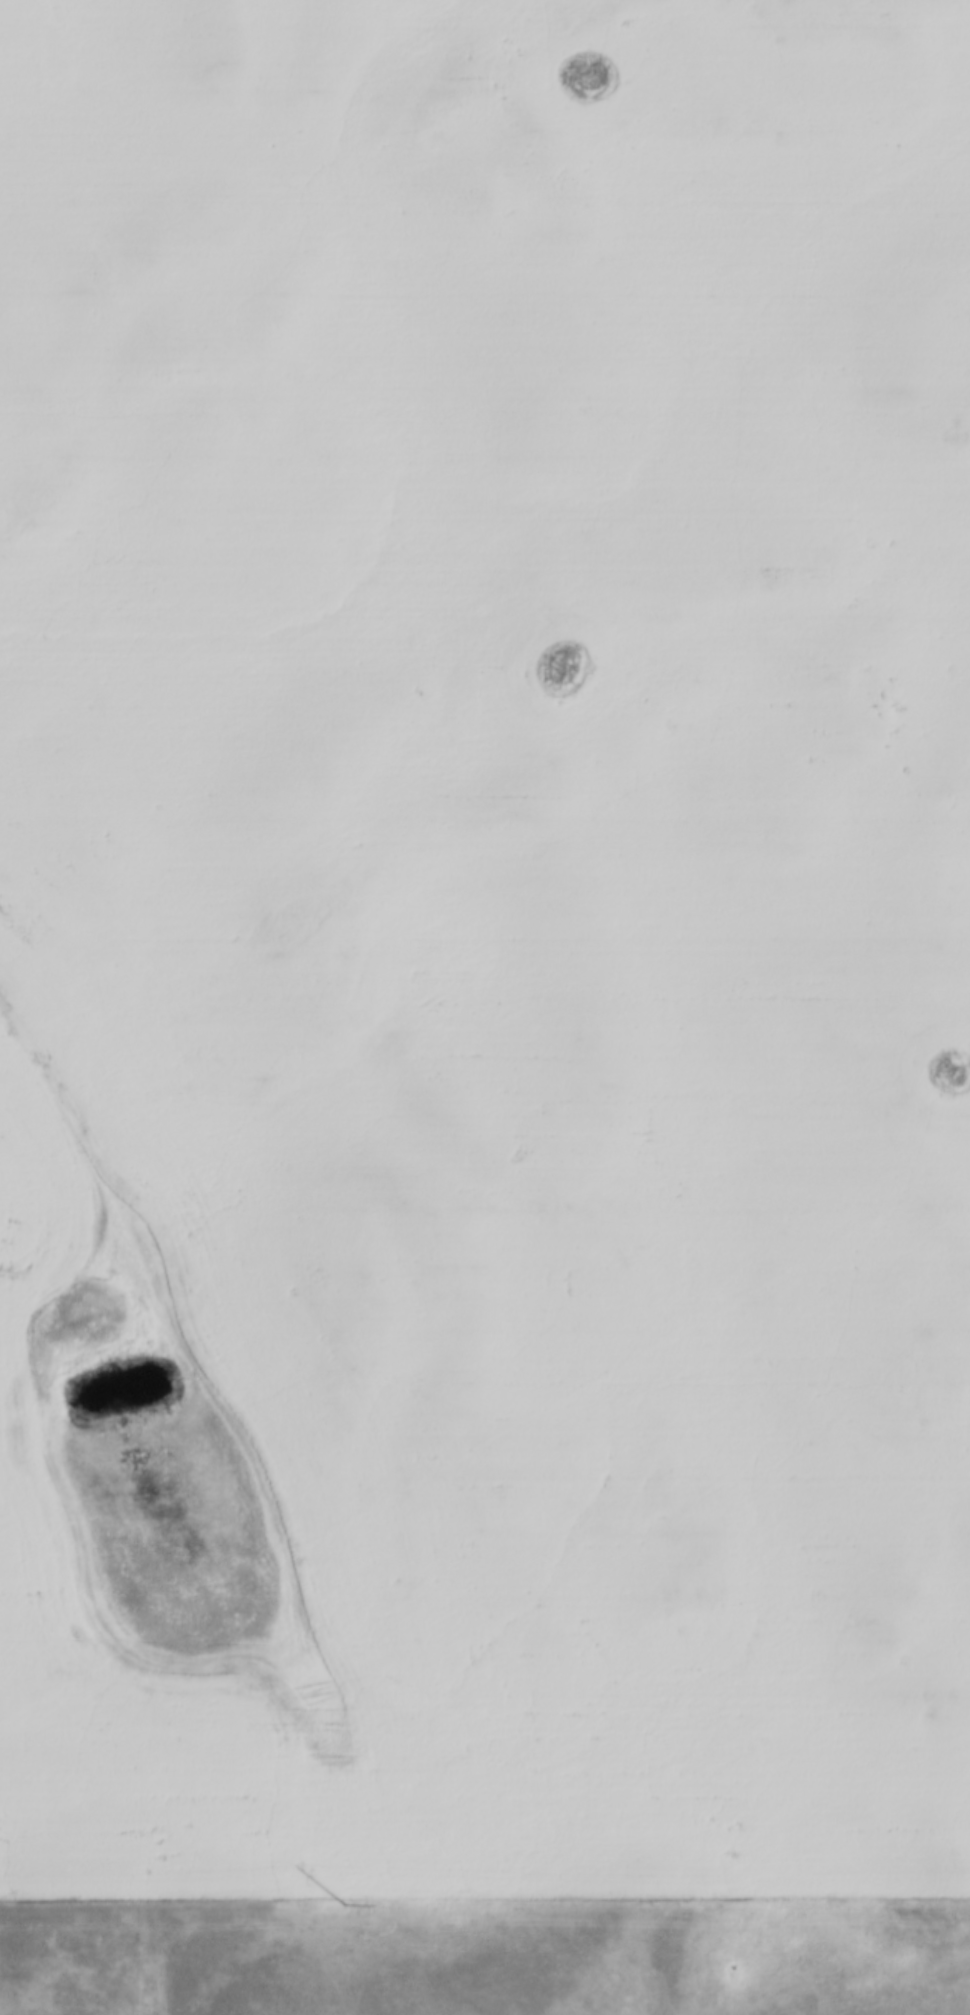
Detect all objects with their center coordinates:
power tower: (340, 1902)

